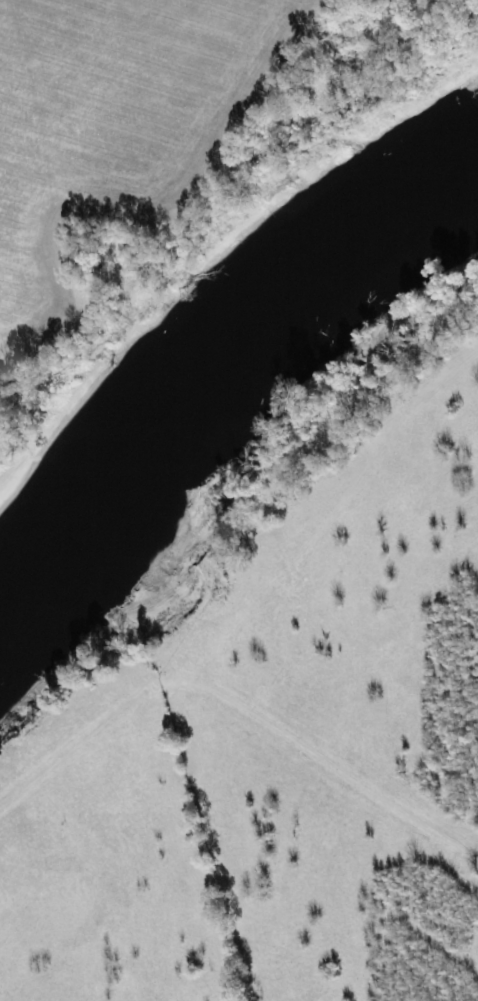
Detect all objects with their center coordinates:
river: (212, 338)

